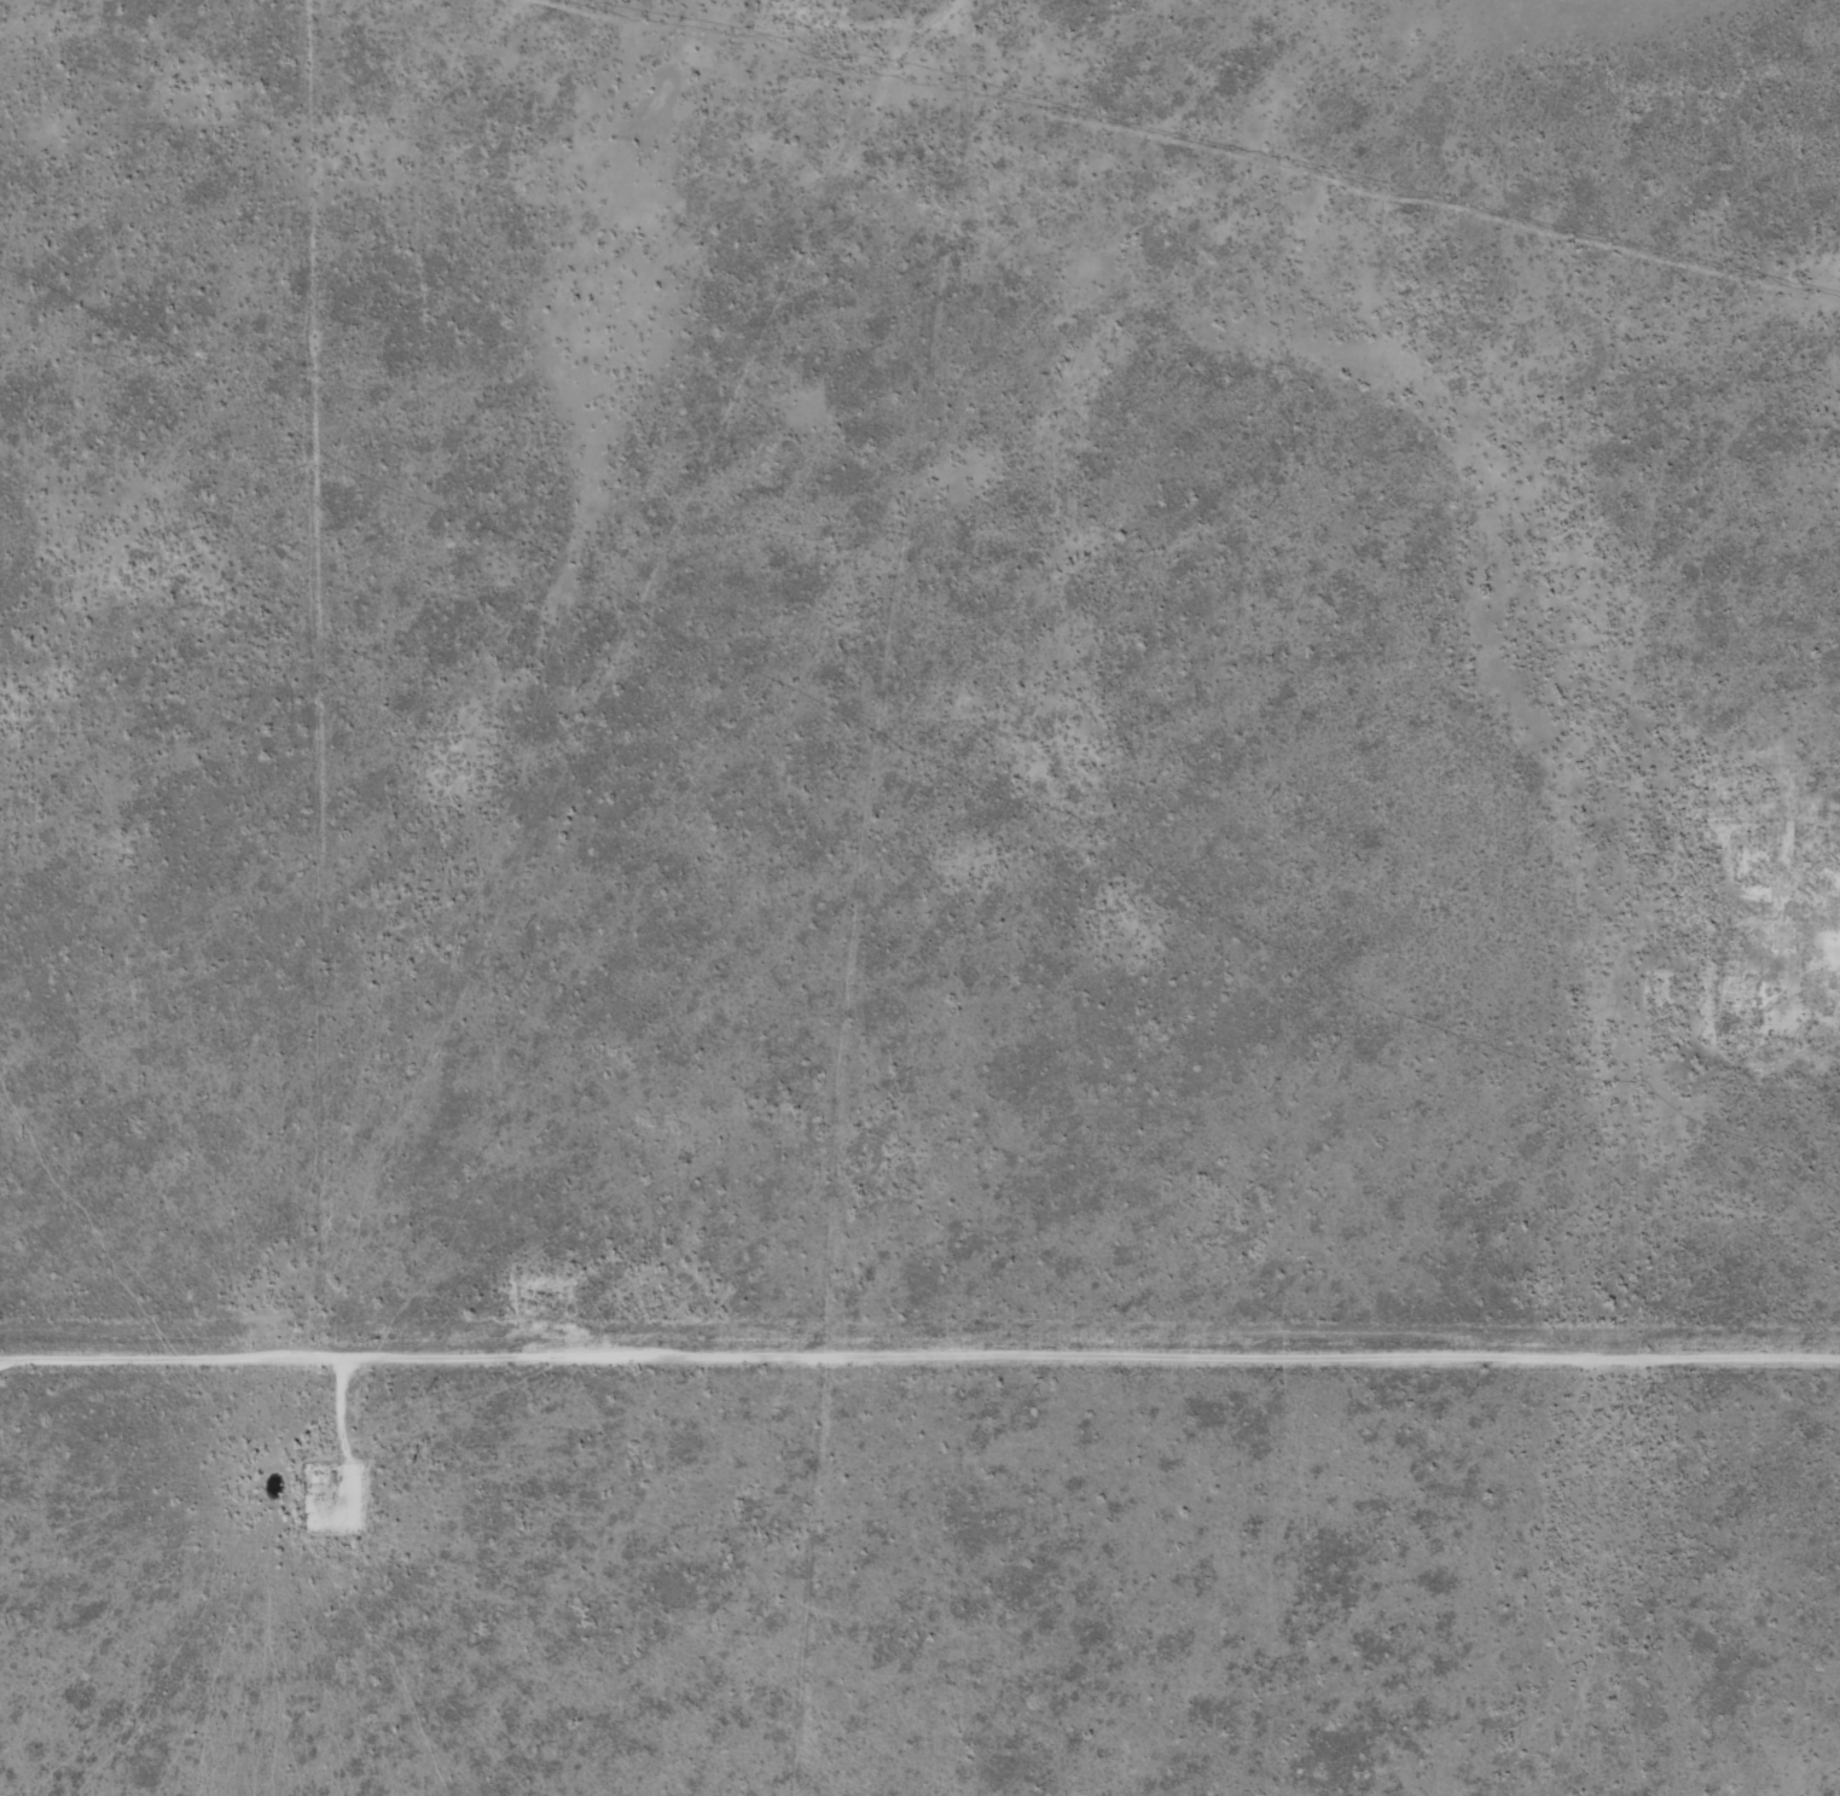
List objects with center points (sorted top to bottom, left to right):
road: (866, 897)
road: (919, 1332)

